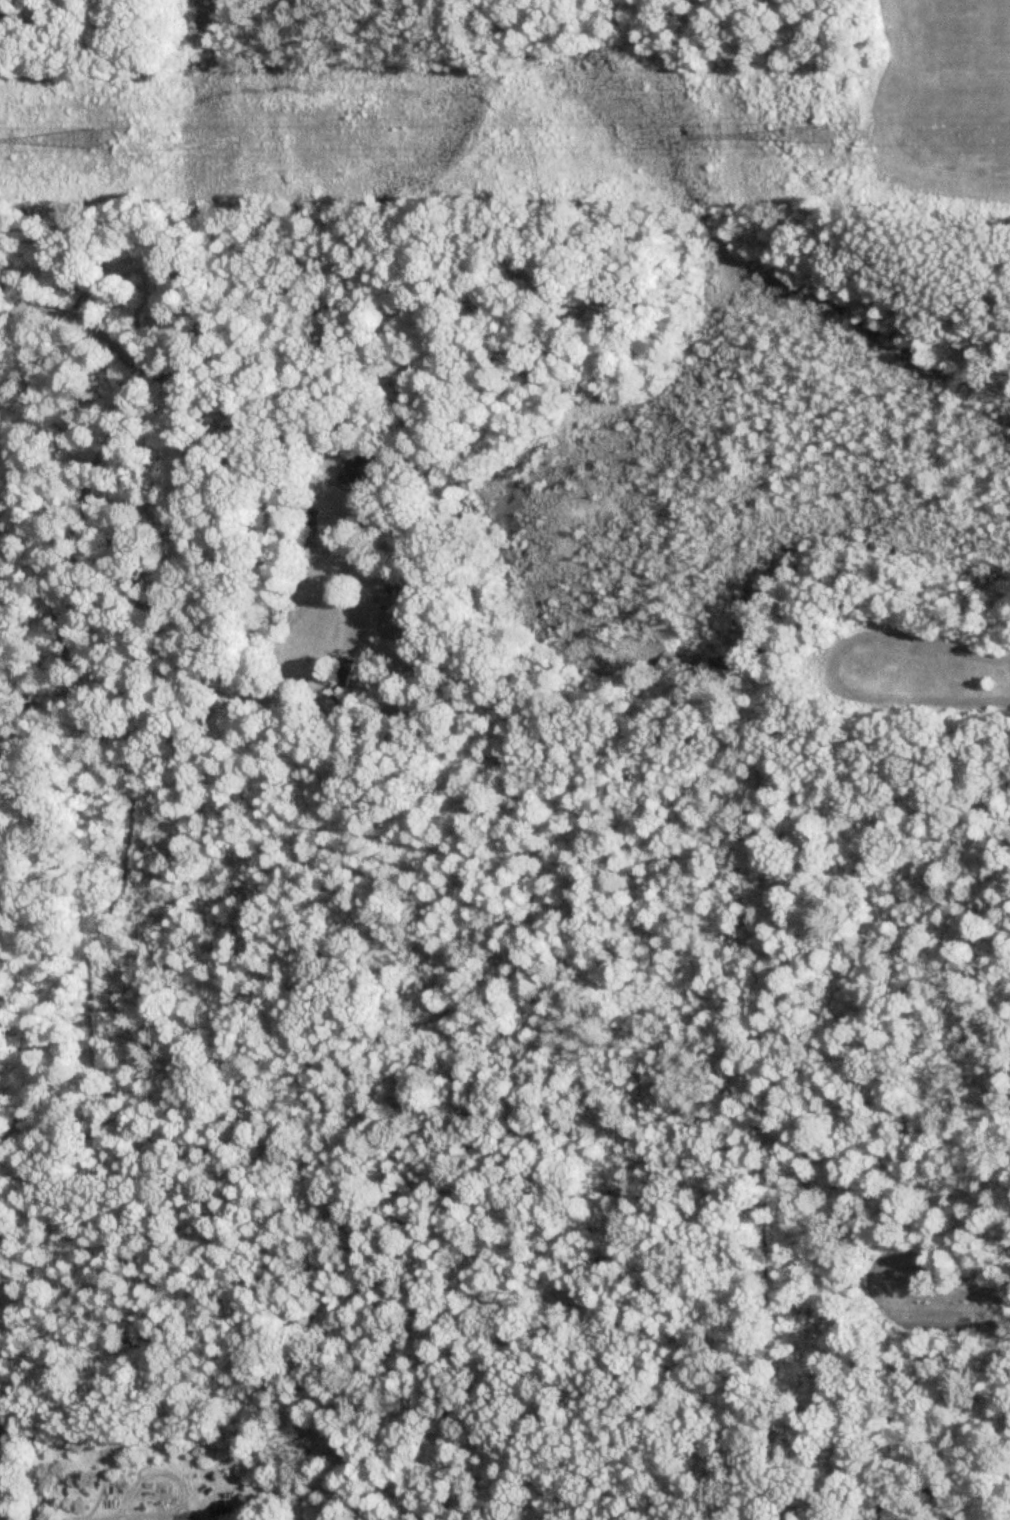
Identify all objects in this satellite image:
power tower: (820, 139)
power tower: (90, 143)
road: (170, 378)
building: (365, 474)
building: (342, 681)
building: (4, 1460)

